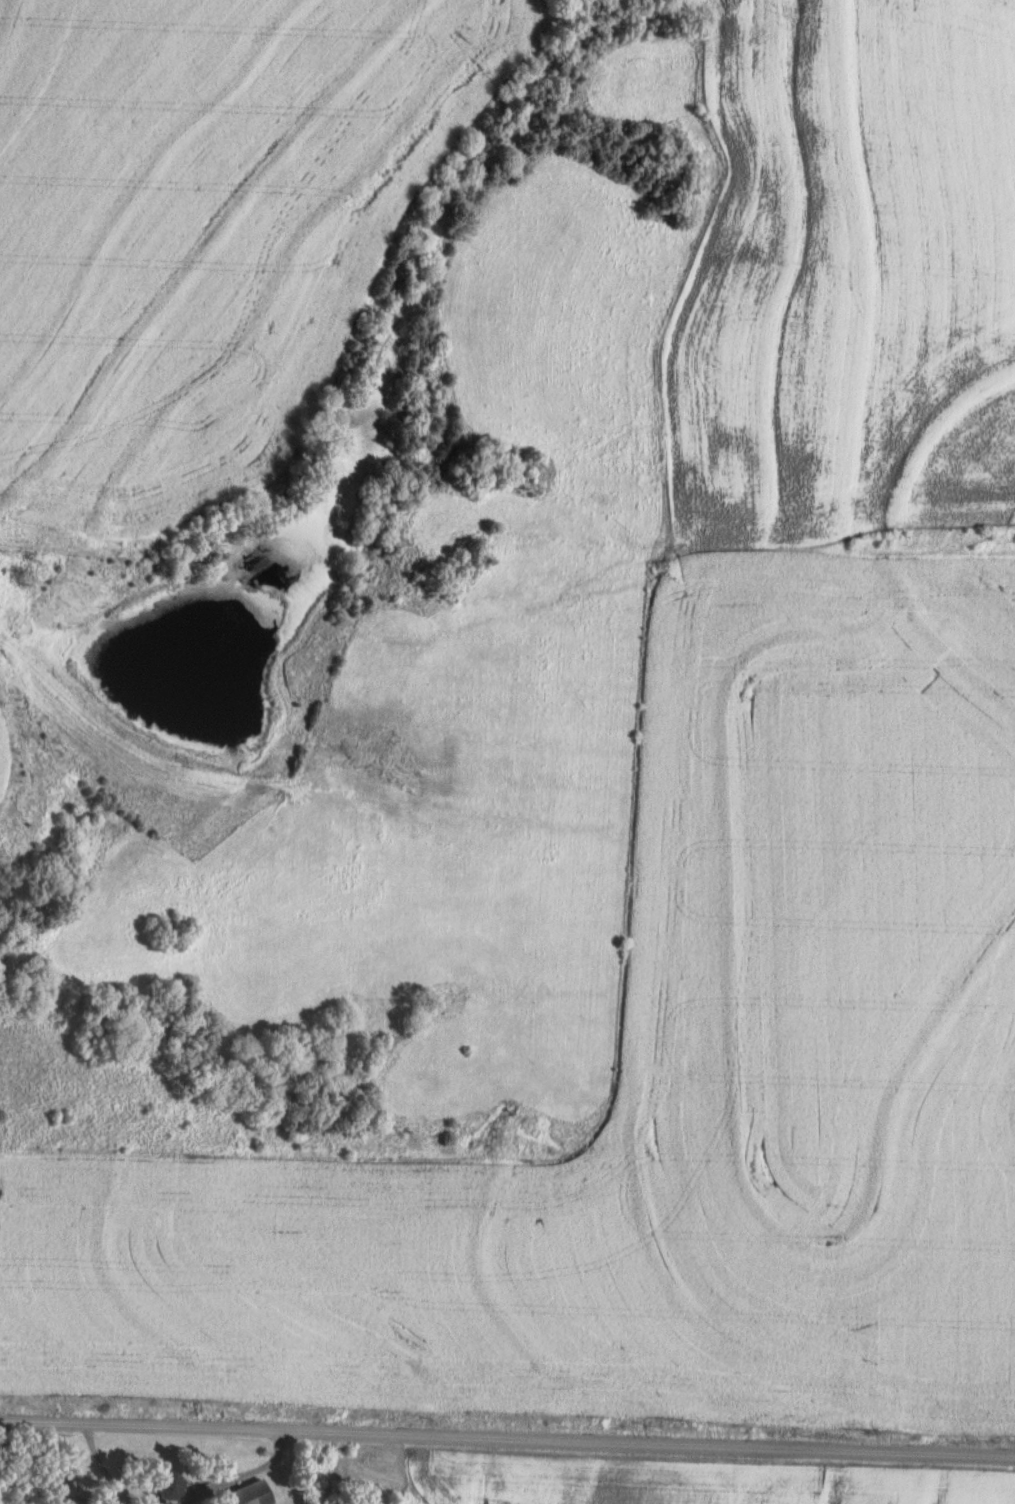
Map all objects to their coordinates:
road: (507, 1437)
crop: (683, 1481)
building: (163, 1484)
building: (246, 1494)

